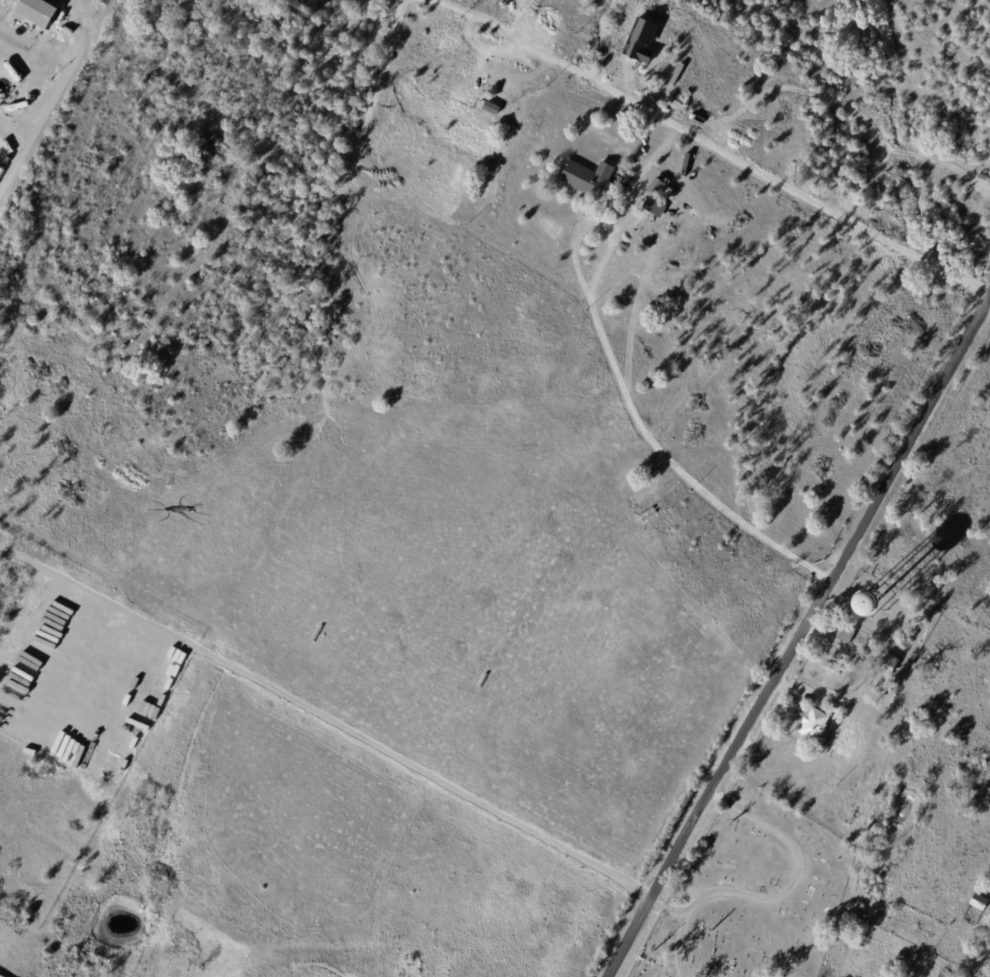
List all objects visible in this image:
building: (39, 11)
road: (44, 114)
building: (586, 178)
building: (657, 187)
building: (655, 208)
road: (617, 381)
road: (796, 632)
building: (845, 633)
building: (857, 644)
building: (888, 665)
building: (813, 723)
road: (778, 891)
park: (747, 894)
building: (979, 901)
building: (674, 902)
road: (674, 946)
building: (943, 974)

